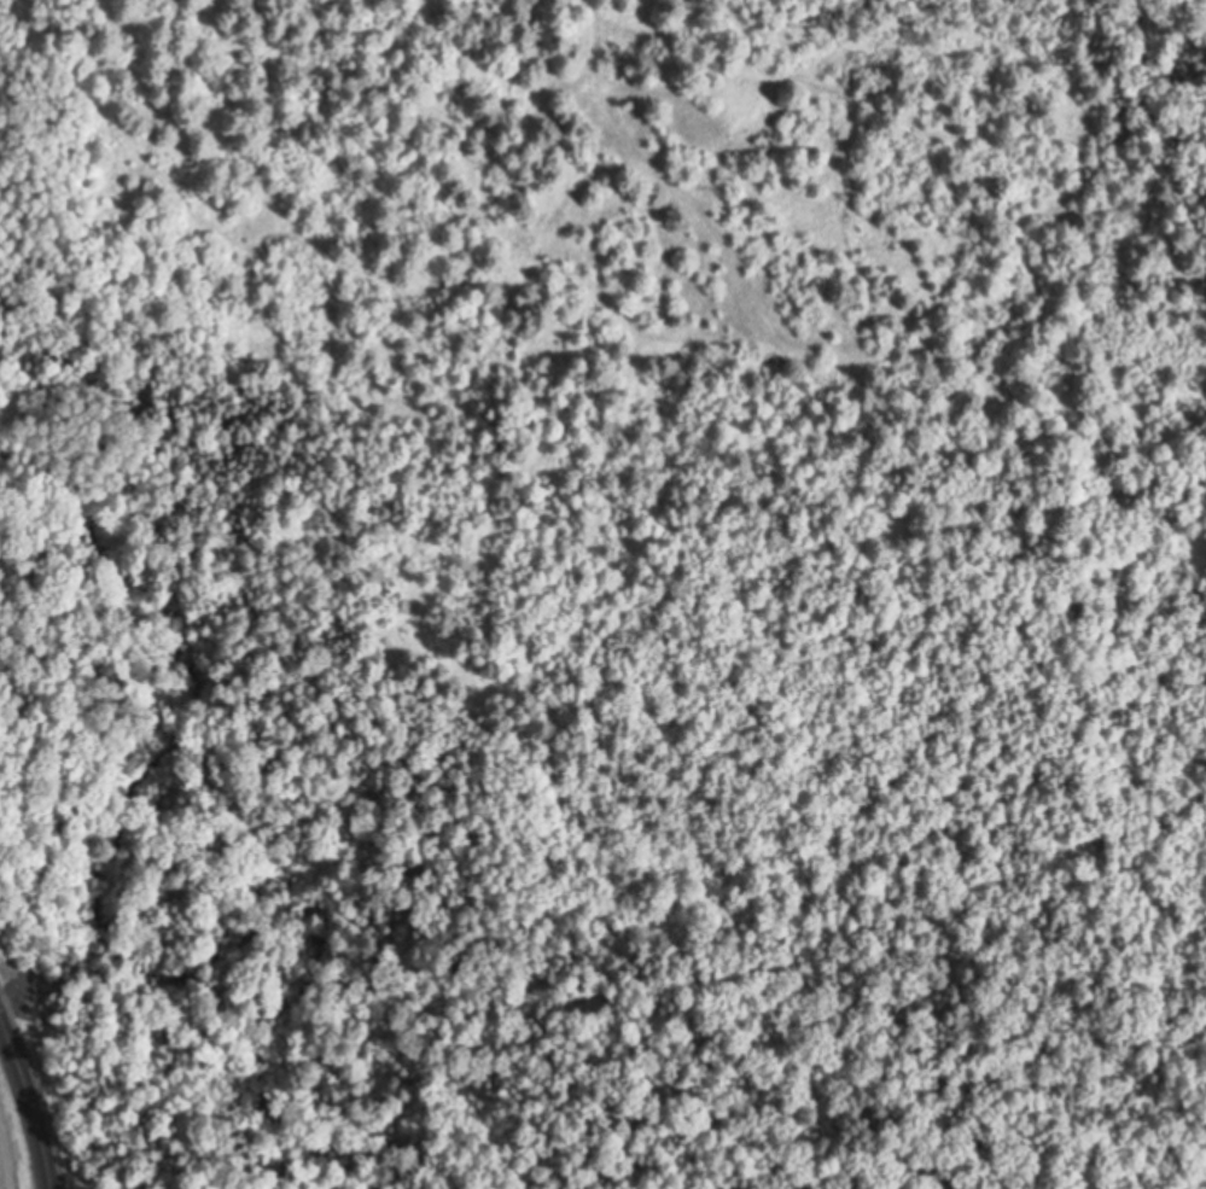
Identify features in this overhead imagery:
road: (29, 1100)

